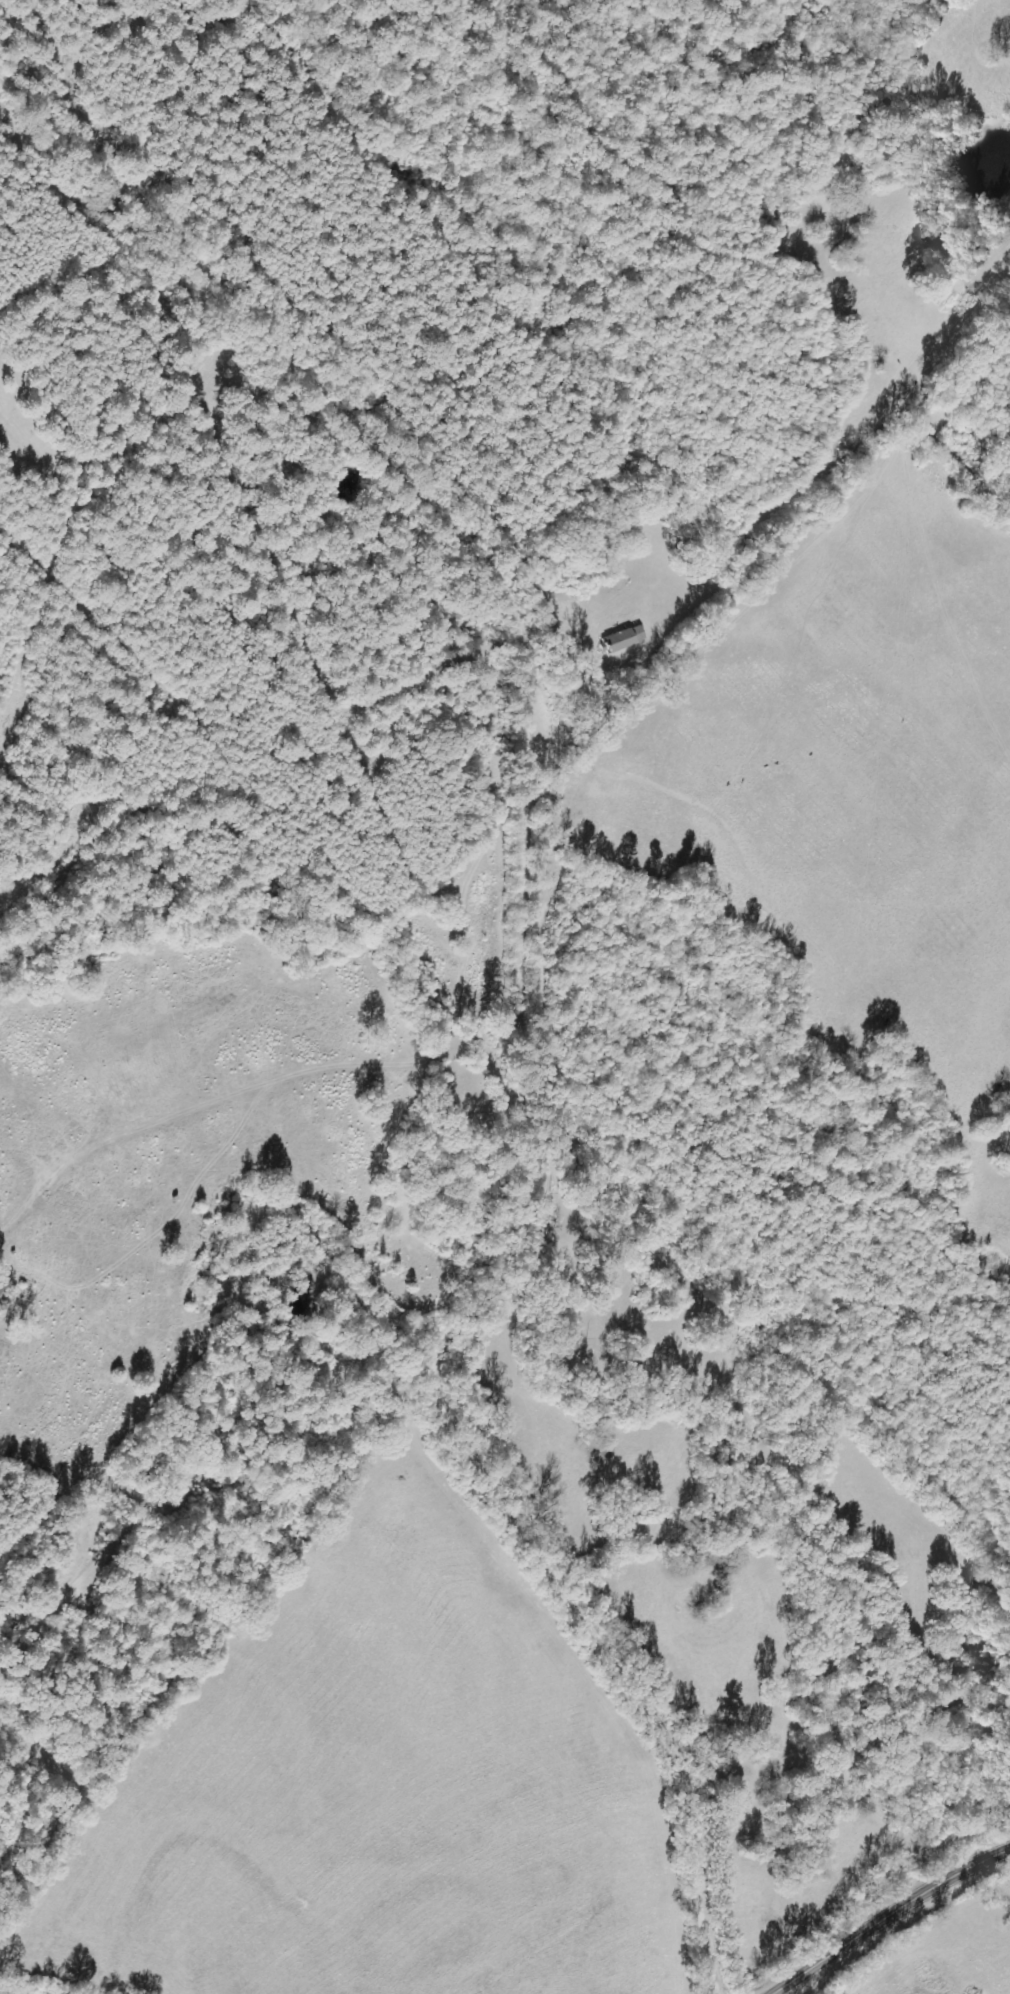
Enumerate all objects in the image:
building: (622, 640)
road: (513, 993)
road: (890, 1917)

